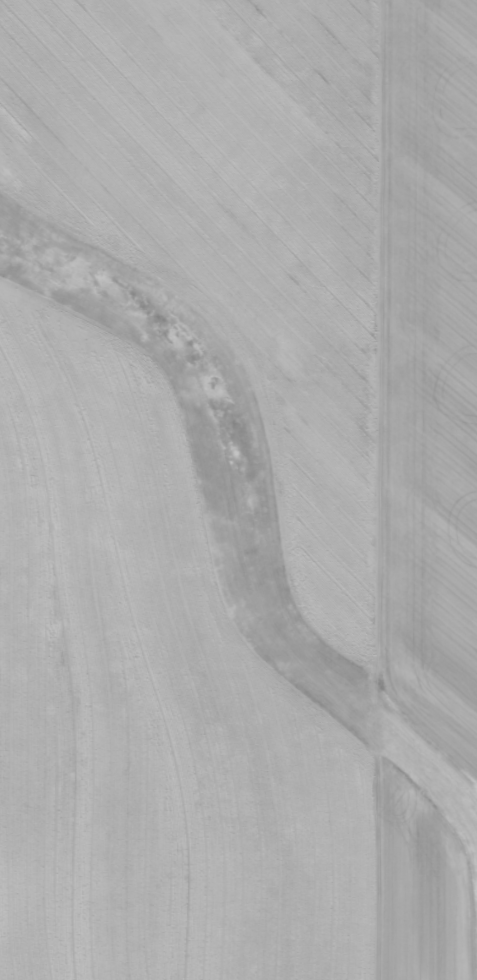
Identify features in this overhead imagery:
road: (43, 667)

